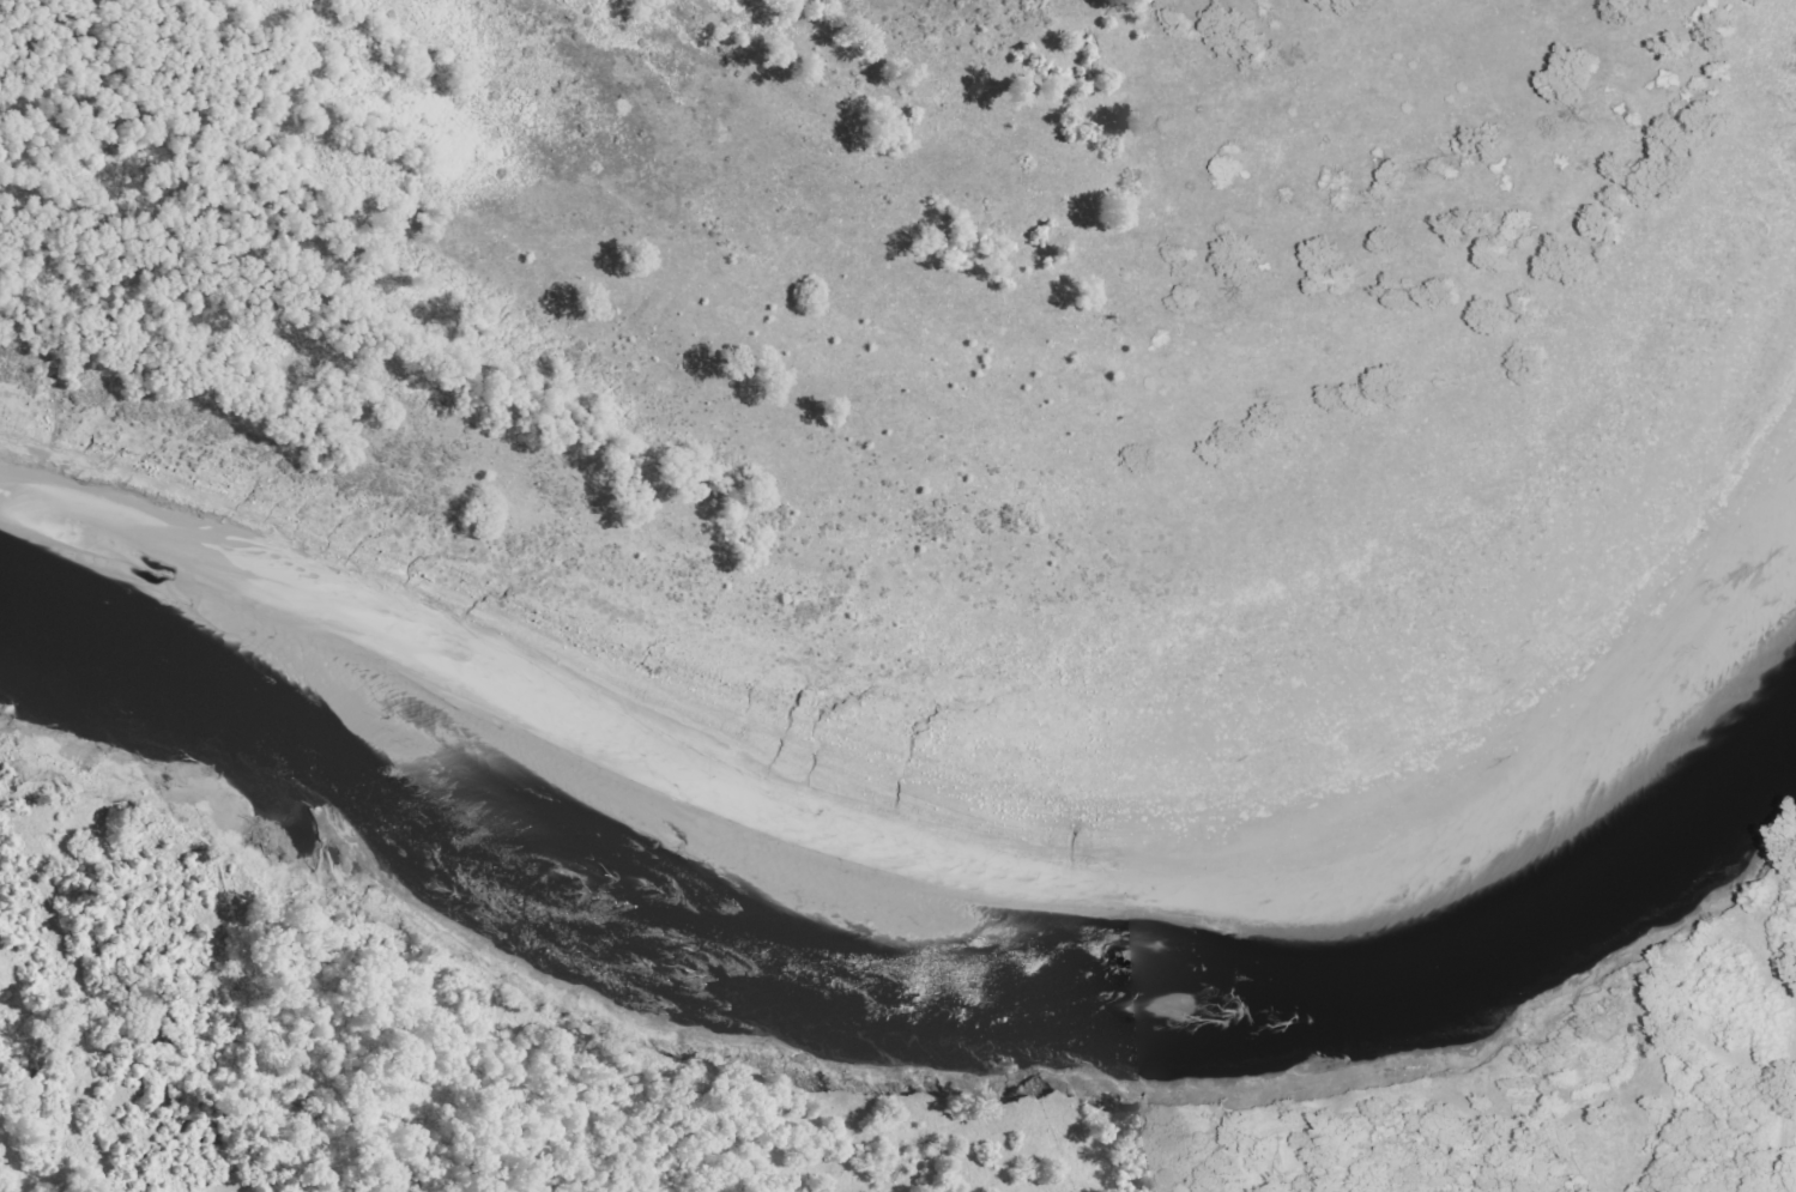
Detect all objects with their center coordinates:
river: (918, 732)

